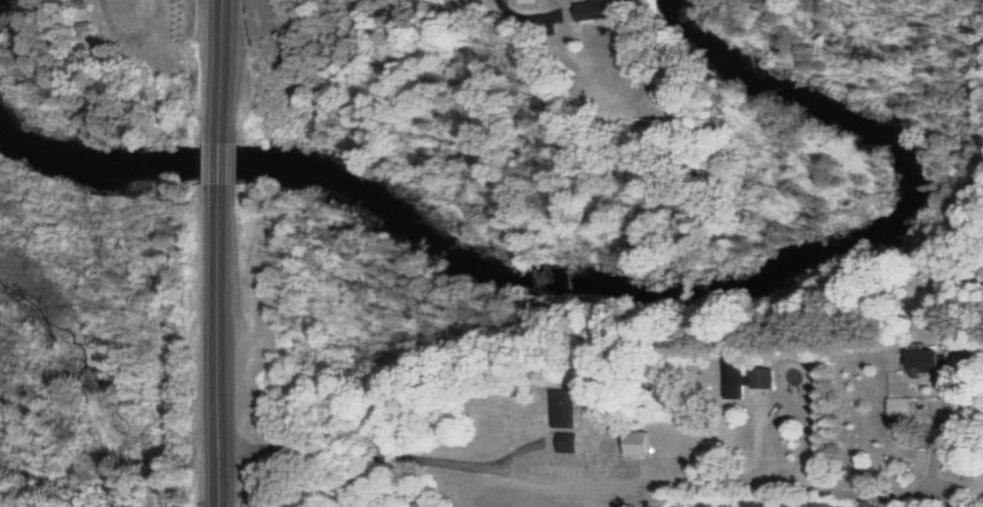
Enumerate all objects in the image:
building: (518, 2)
building: (592, 10)
road: (220, 71)
road: (219, 163)
river: (593, 287)
road: (219, 346)
building: (921, 359)
building: (745, 378)
building: (899, 407)
building: (564, 409)
building: (565, 443)
building: (634, 445)
road: (354, 455)
road: (715, 481)
road: (474, 486)

